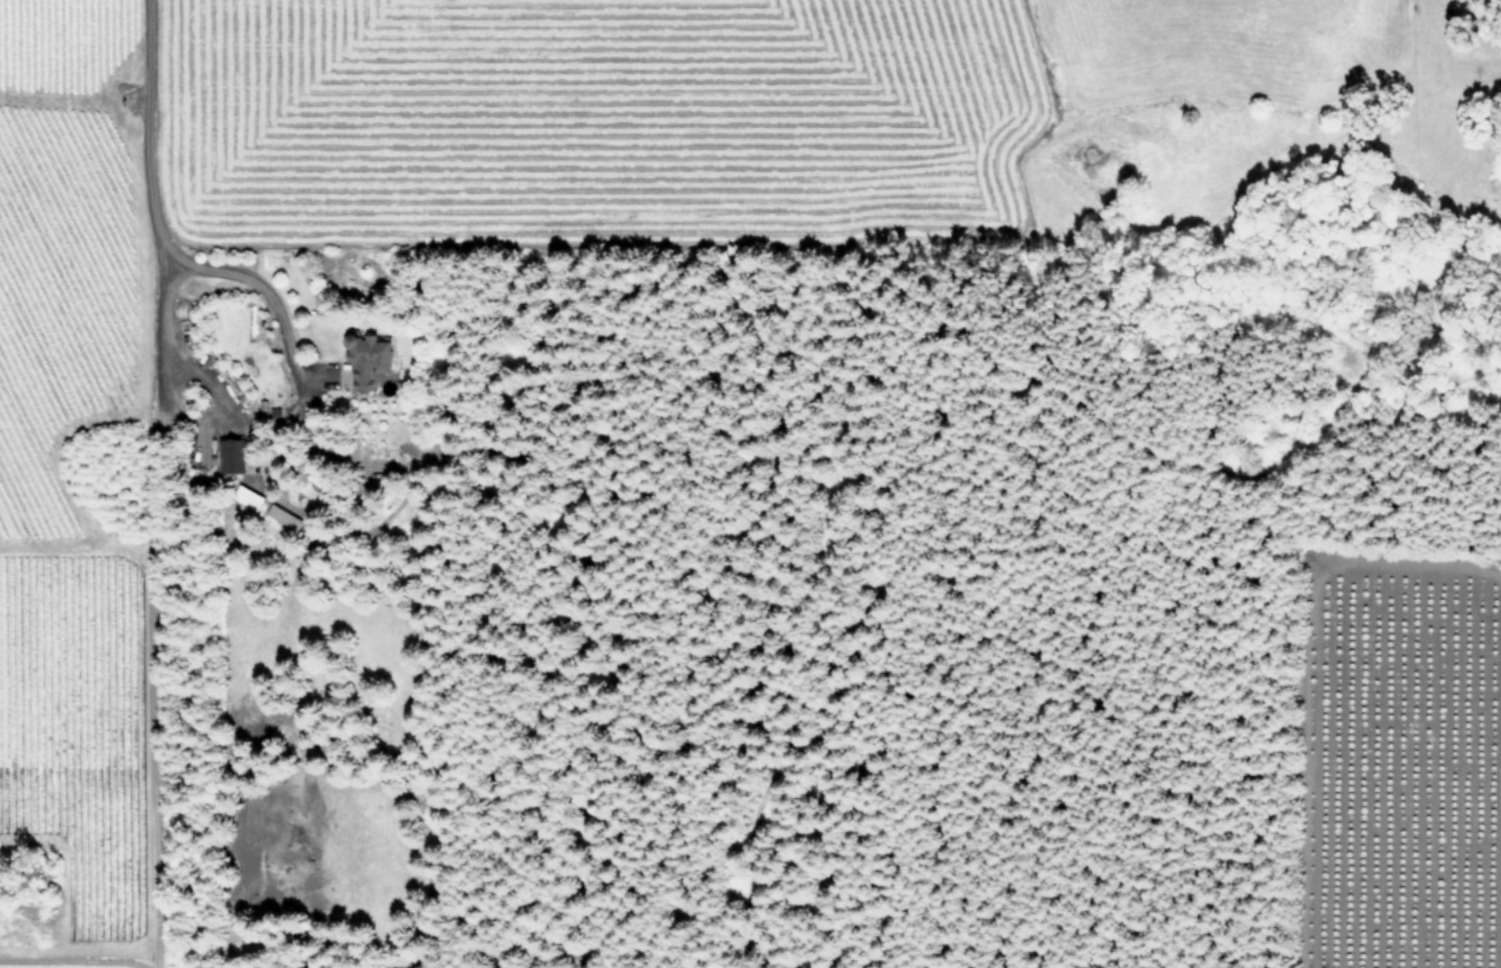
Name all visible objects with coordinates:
road: (154, 226)
road: (162, 378)
building: (251, 496)
building: (285, 516)
crop: (75, 599)
crop: (1406, 771)

